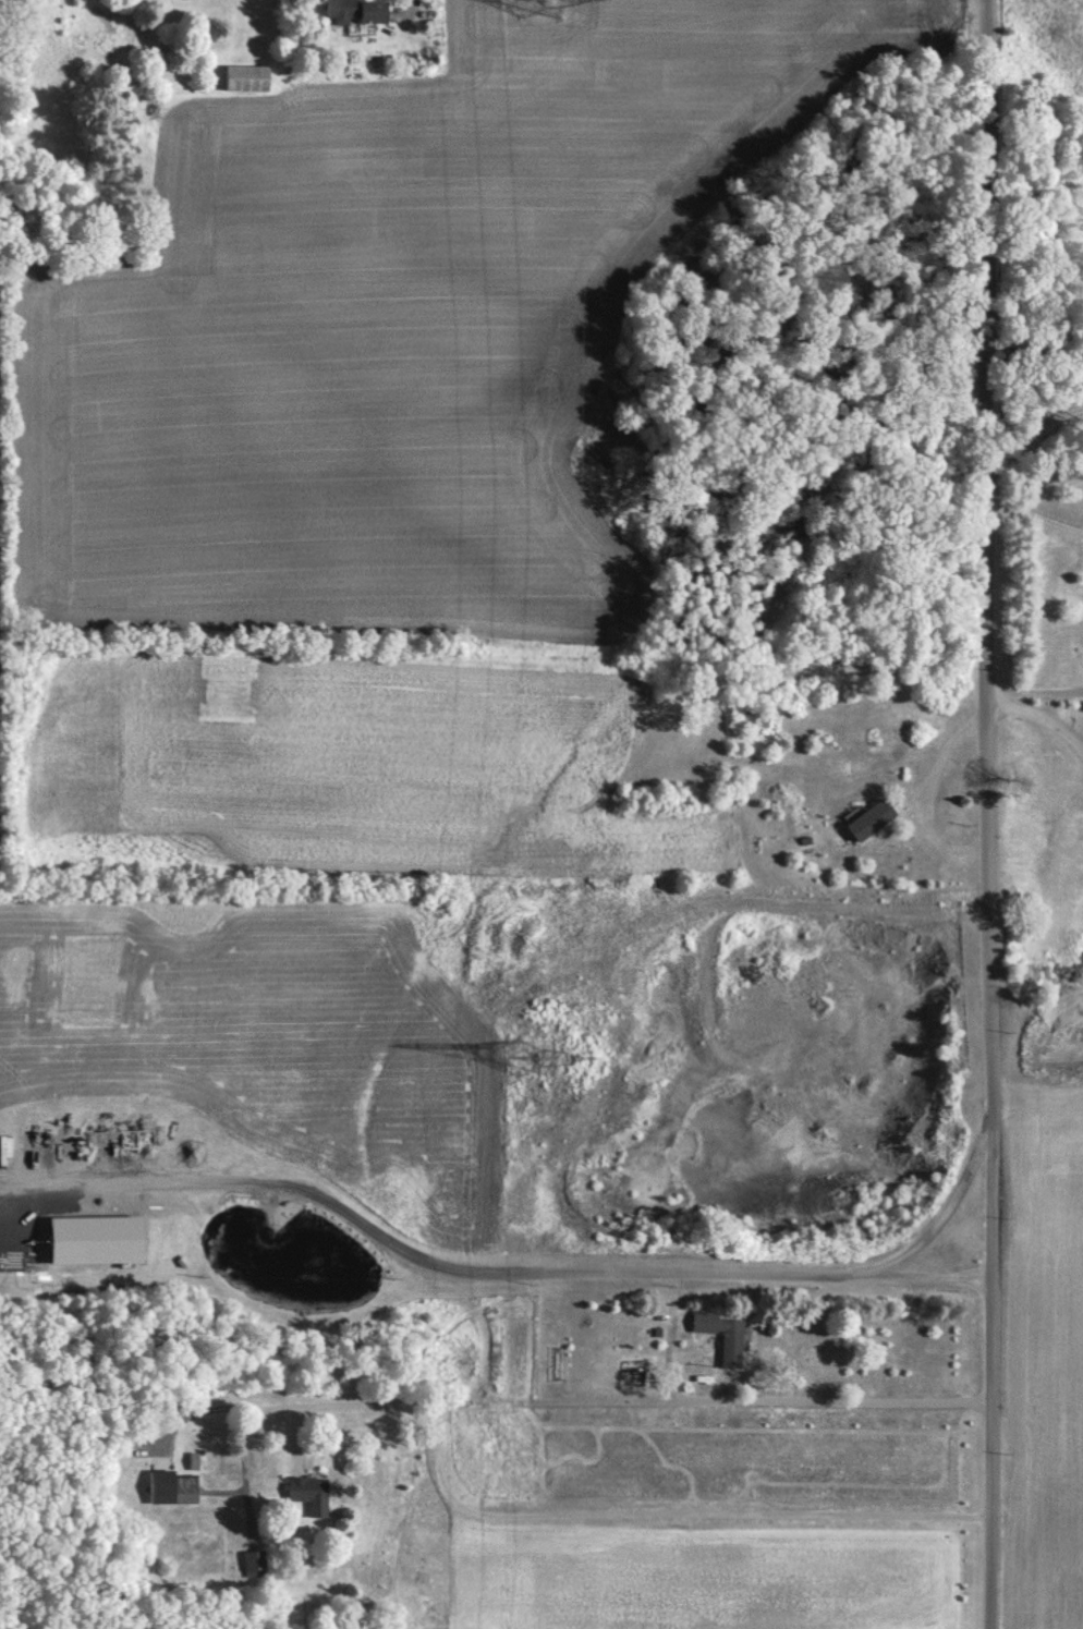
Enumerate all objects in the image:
building: (357, 10)
building: (248, 77)
road: (1036, 404)
road: (1035, 516)
road: (1037, 680)
road: (905, 782)
road: (993, 814)
building: (871, 818)
power tower: (538, 1055)
building: (107, 1139)
road: (946, 1207)
road: (485, 1272)
building: (723, 1333)
road: (196, 1409)
building: (185, 1487)
building: (306, 1488)
road: (545, 1517)
building: (252, 1559)

